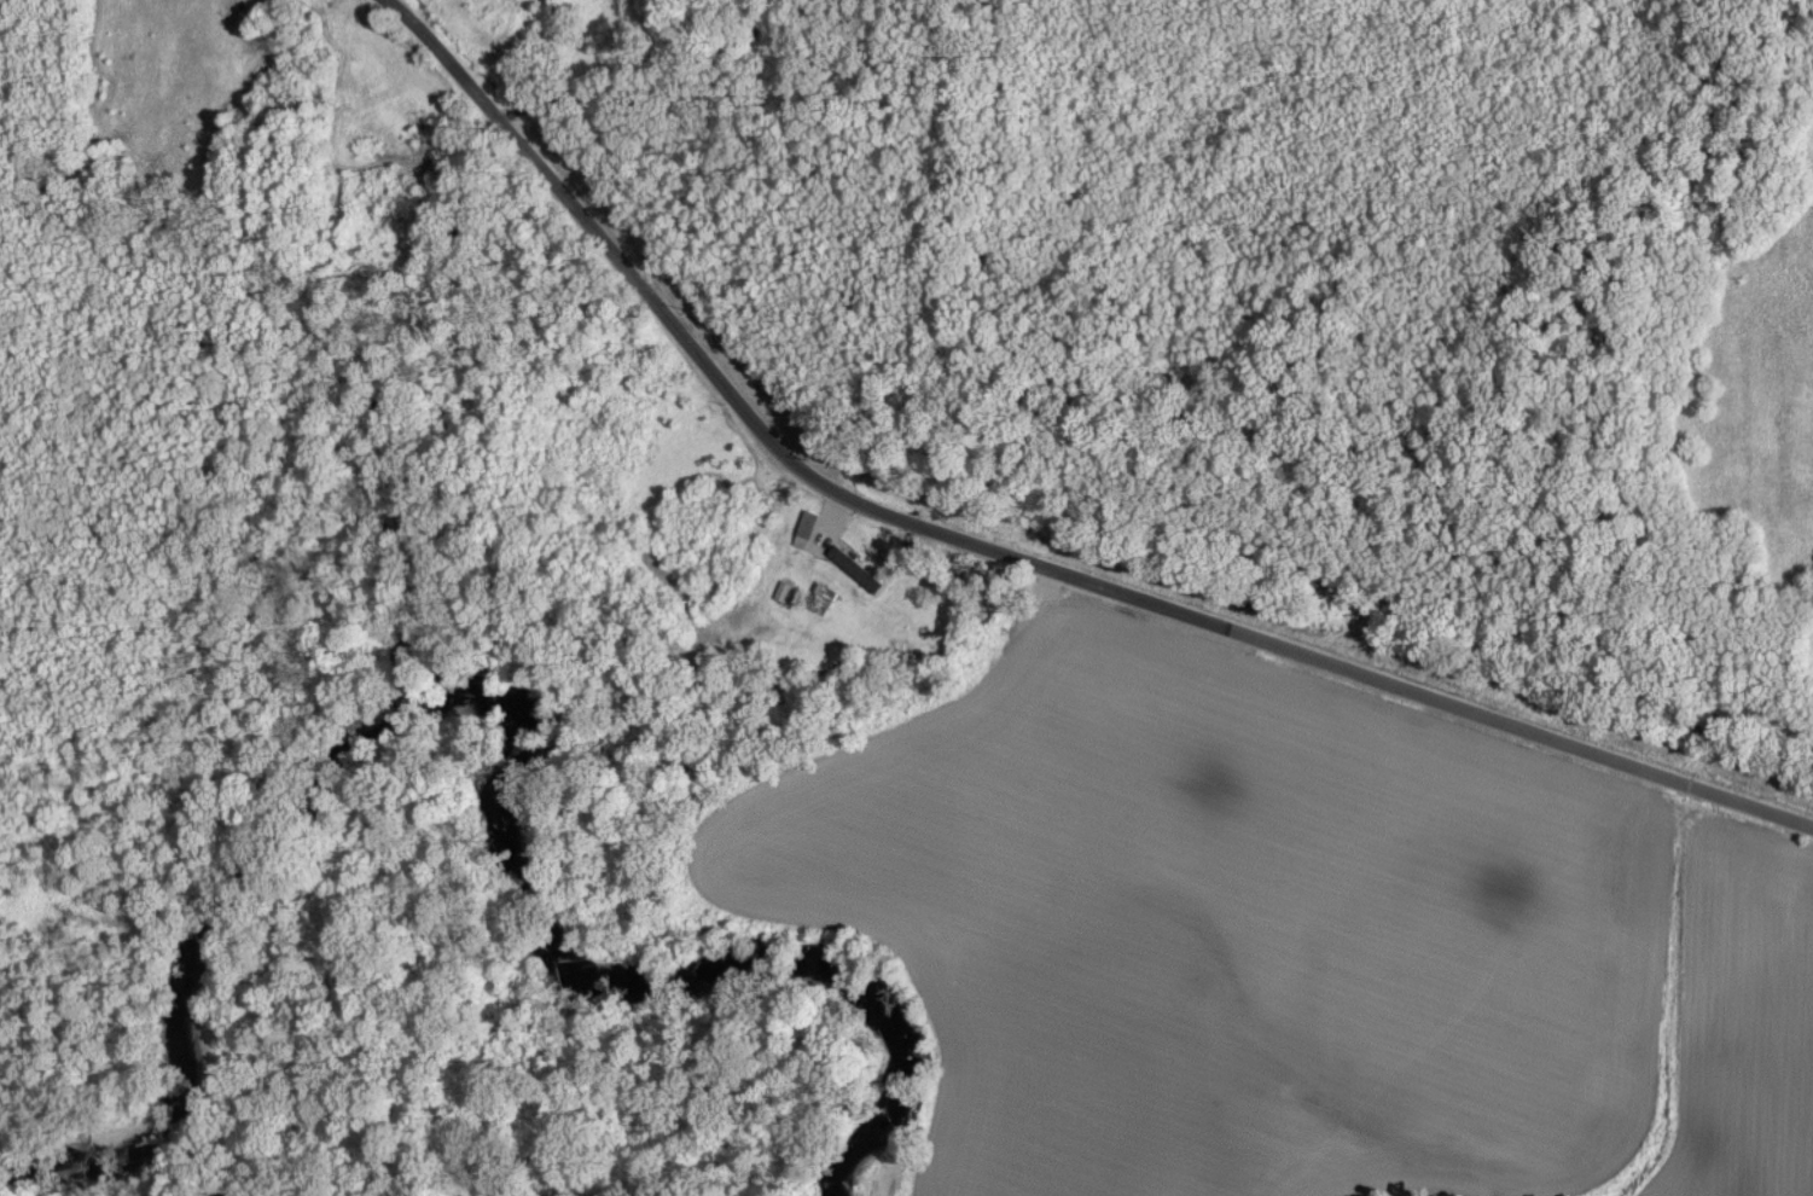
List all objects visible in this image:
road: (1009, 552)
river: (493, 713)

